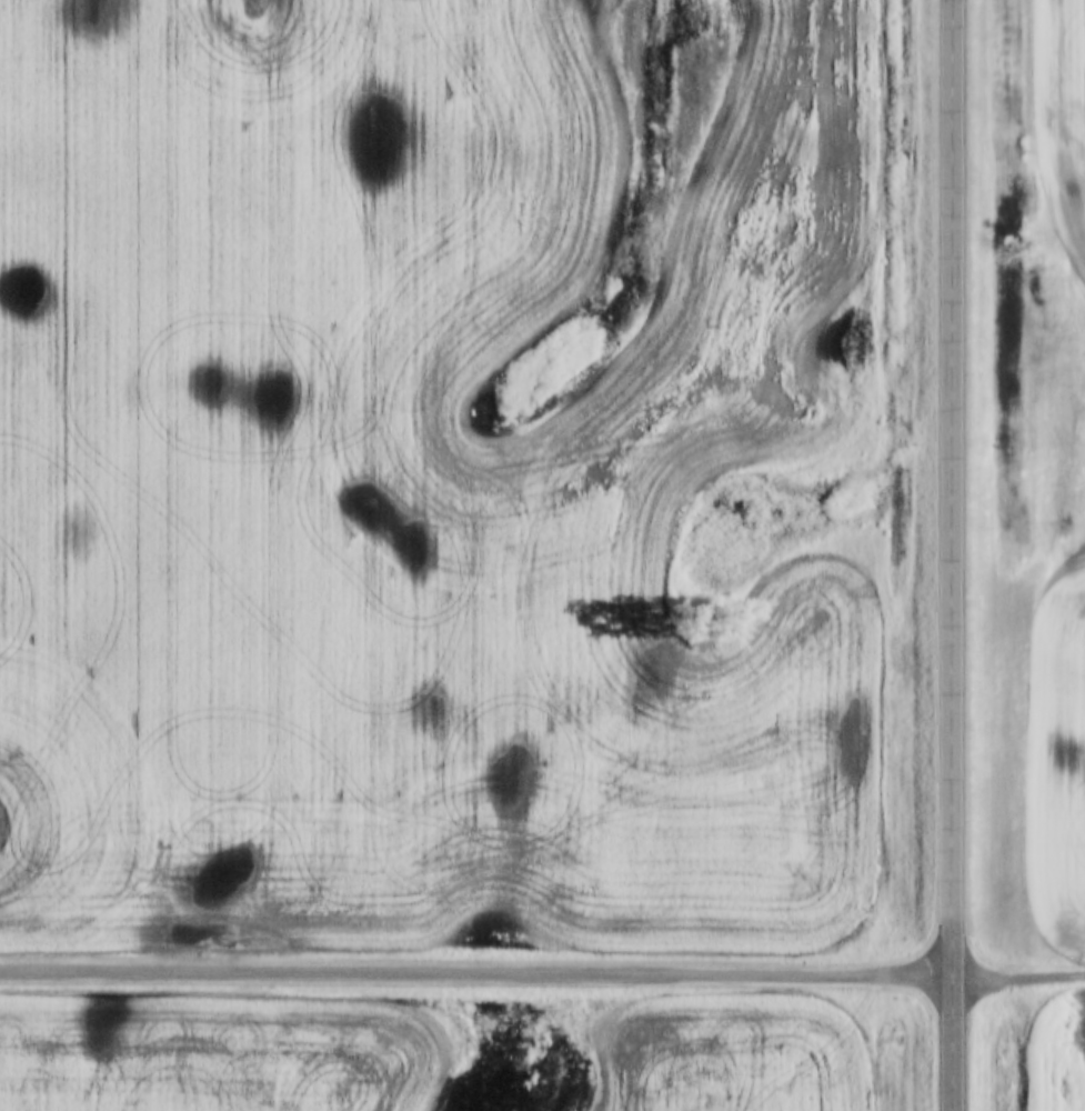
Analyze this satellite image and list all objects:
road: (953, 554)
road: (475, 973)
road: (1018, 973)

